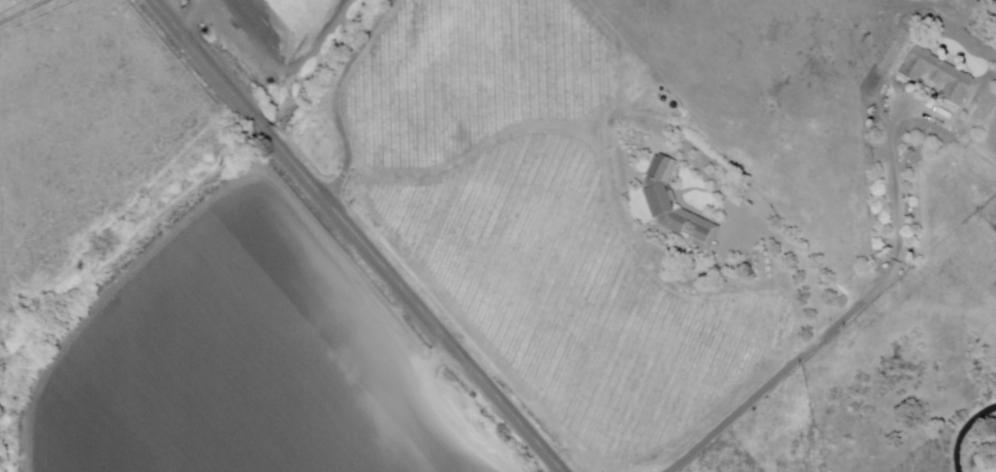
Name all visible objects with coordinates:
road: (26, 12)
crop: (285, 26)
road: (201, 59)
building: (937, 74)
road: (336, 96)
road: (262, 126)
road: (467, 161)
building: (677, 206)
road: (802, 265)
road: (414, 302)
road: (848, 318)
crop: (241, 366)
road: (964, 434)

